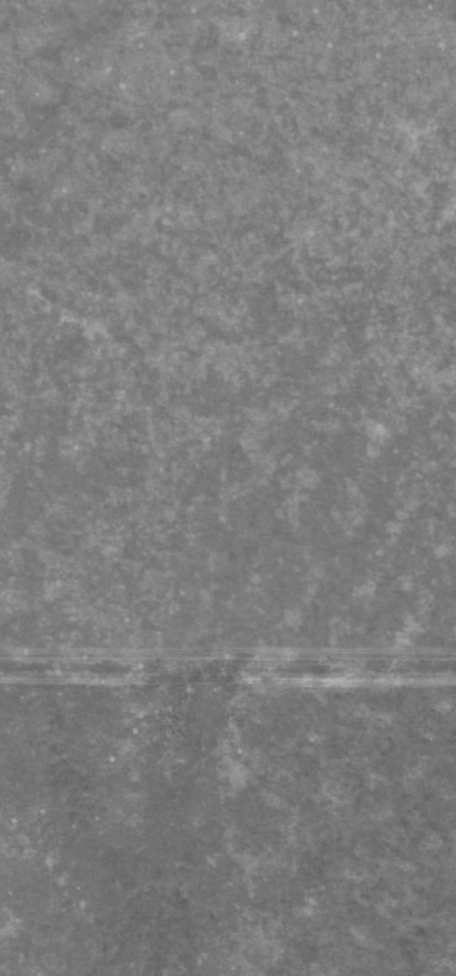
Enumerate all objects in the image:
road: (228, 675)

